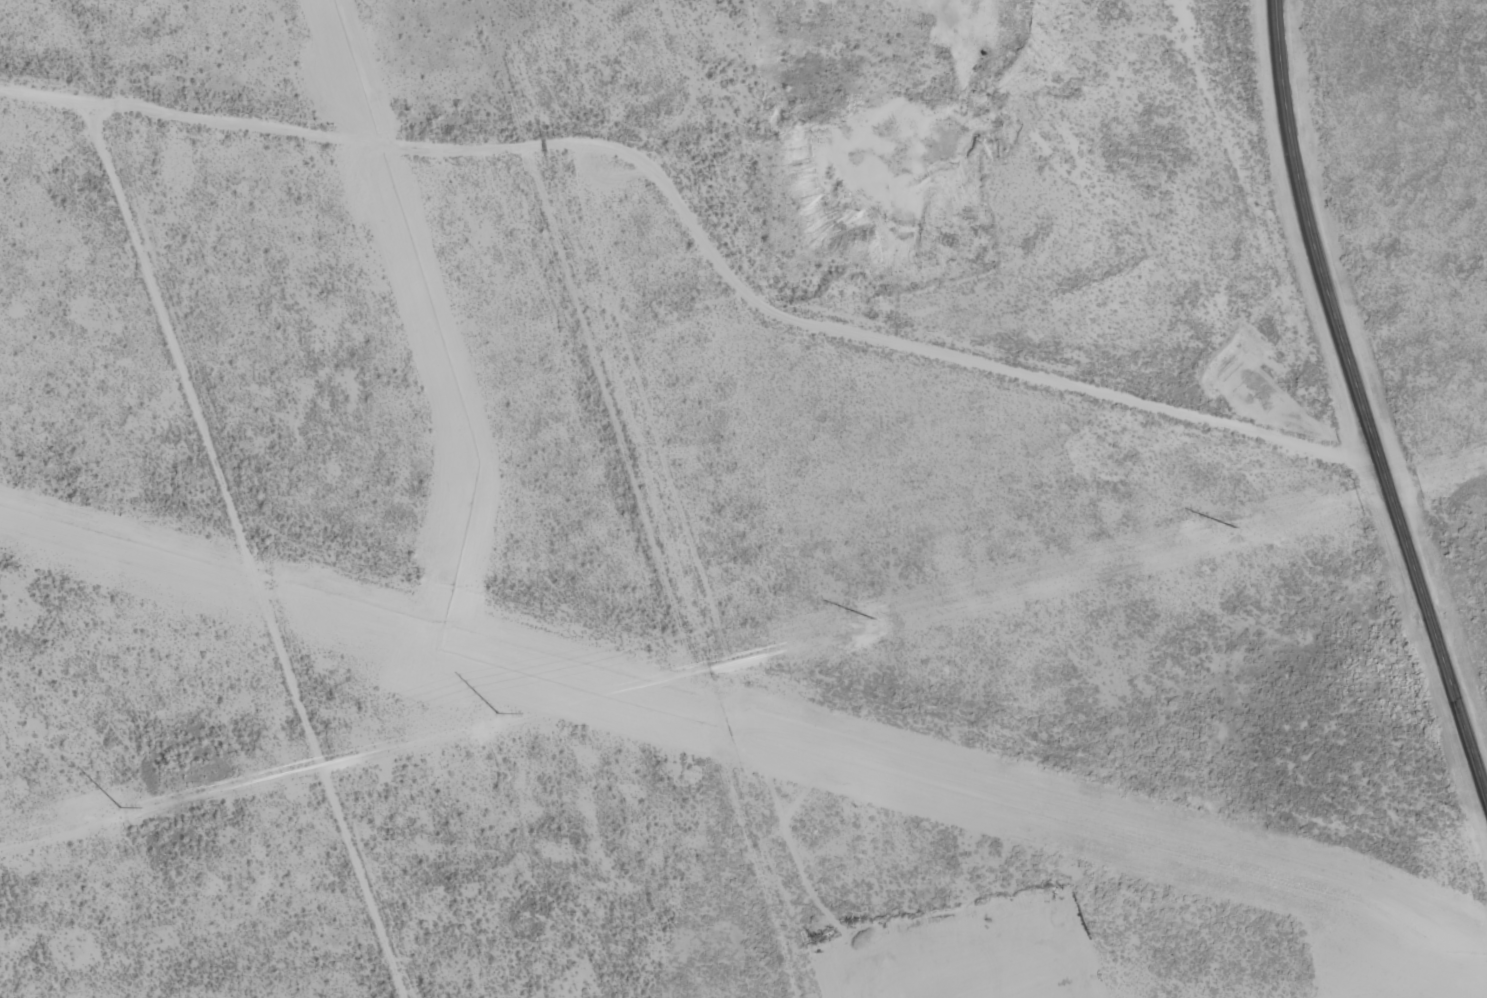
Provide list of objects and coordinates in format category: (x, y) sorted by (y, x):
road: (701, 230)
road: (1232, 234)
road: (1364, 400)

